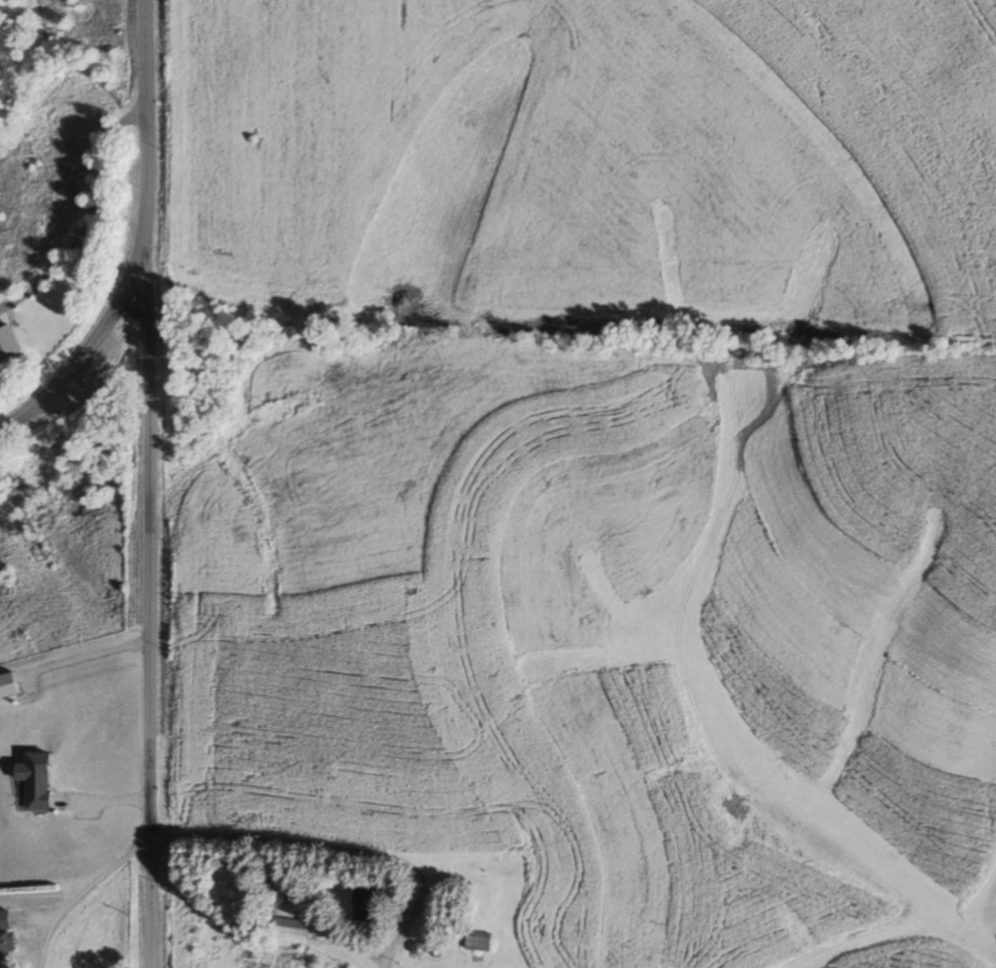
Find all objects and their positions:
road: (145, 145)
road: (87, 226)
road: (72, 367)
road: (149, 624)
building: (6, 687)
building: (34, 780)
building: (488, 870)
road: (97, 876)
building: (292, 933)
building: (6, 937)
building: (479, 945)

